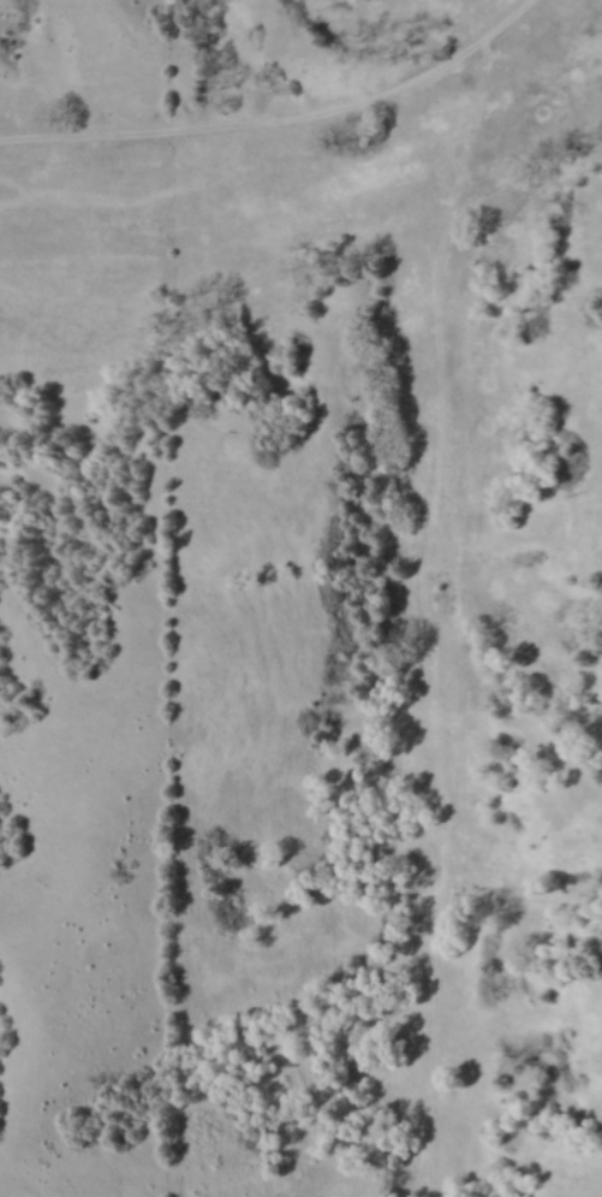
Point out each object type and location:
road: (276, 119)

